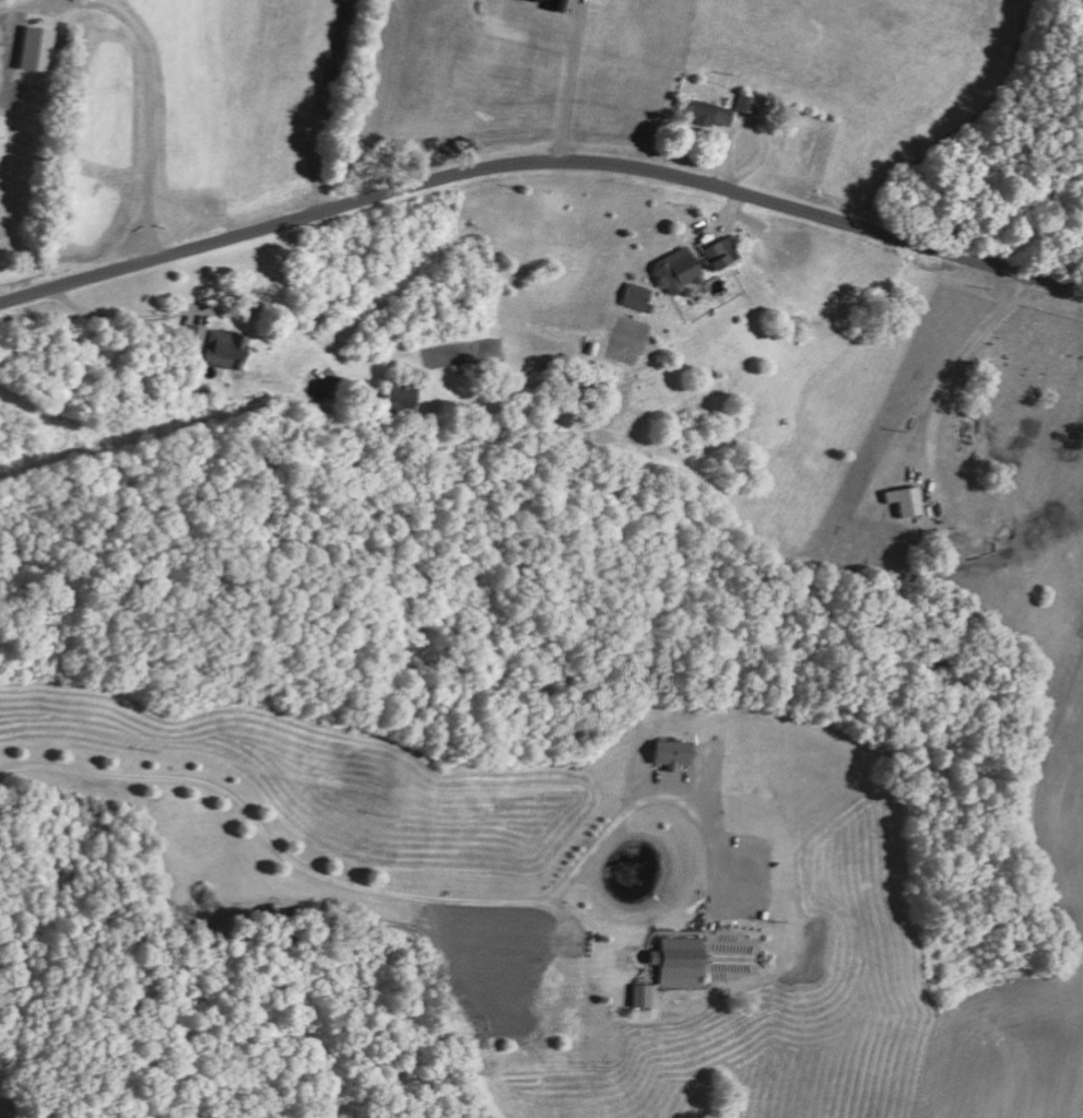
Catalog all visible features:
building: (34, 47)
road: (146, 72)
building: (745, 103)
road: (311, 110)
building: (707, 111)
road: (541, 162)
building: (719, 251)
building: (676, 270)
building: (635, 295)
building: (215, 345)
building: (396, 398)
building: (903, 499)
building: (668, 752)
road: (278, 849)
building: (510, 961)
building: (676, 962)
building: (639, 995)

